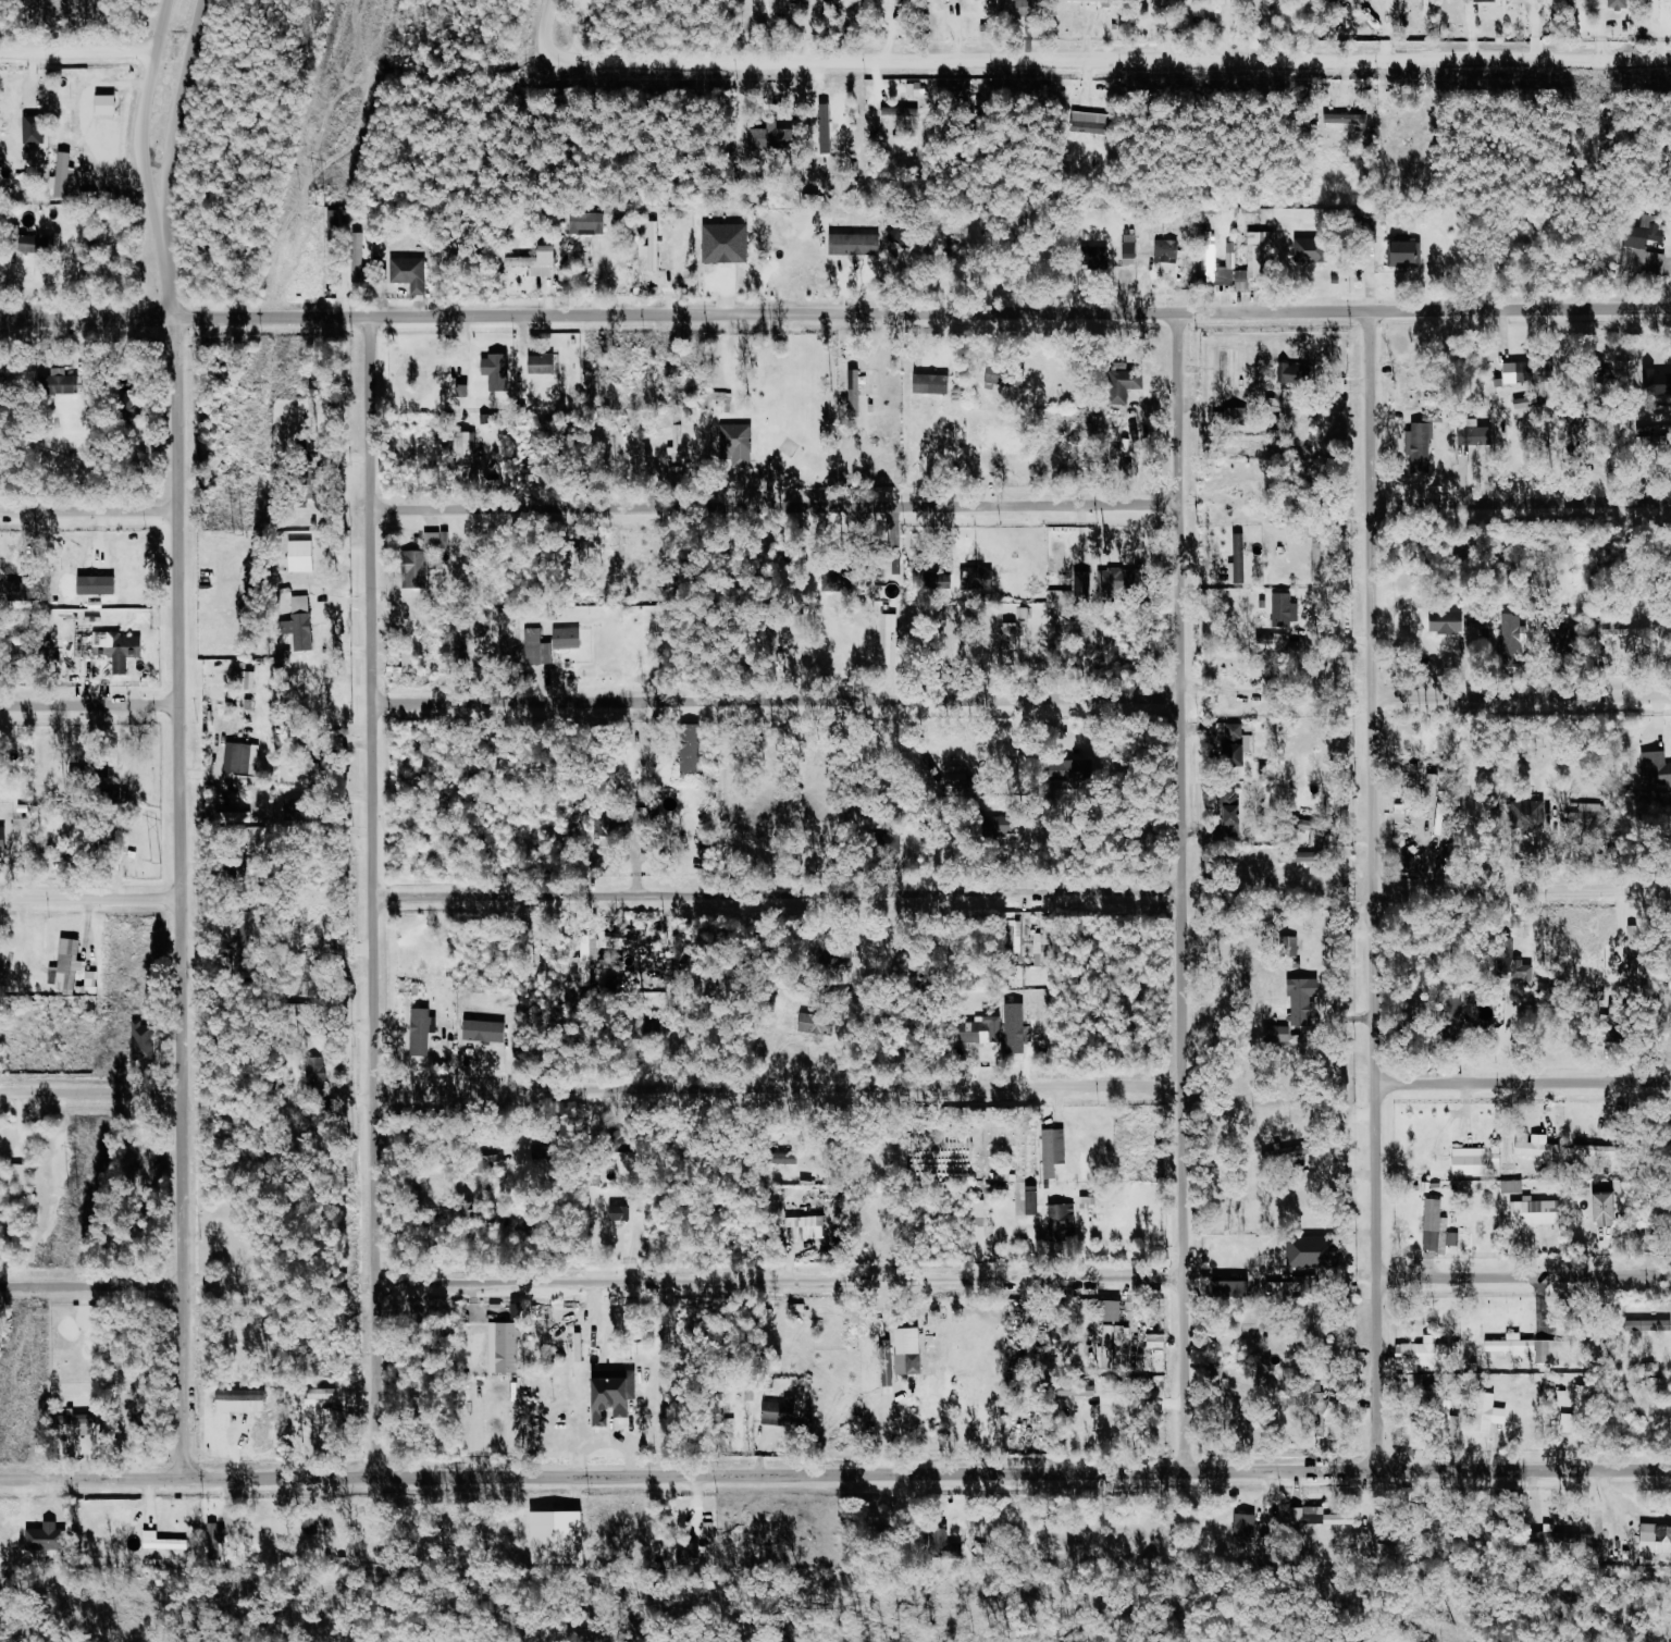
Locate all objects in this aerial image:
building: (1094, 0)
building: (1488, 0)
building: (1026, 2)
building: (1620, 2)
road: (578, 27)
road: (547, 30)
road: (78, 49)
road: (1116, 58)
building: (109, 104)
building: (903, 112)
road: (176, 116)
road: (144, 118)
building: (1348, 119)
building: (1093, 122)
building: (36, 129)
building: (771, 137)
building: (64, 174)
power tower: (321, 208)
building: (590, 222)
building: (1645, 236)
building: (728, 243)
building: (34, 244)
building: (857, 244)
building: (656, 245)
building: (1233, 247)
building: (1312, 249)
building: (1211, 252)
building: (1409, 252)
building: (1131, 254)
building: (1100, 256)
building: (359, 257)
building: (1257, 259)
building: (536, 264)
building: (411, 272)
building: (1129, 272)
road: (169, 276)
road: (835, 313)
building: (544, 363)
building: (498, 372)
building: (1513, 372)
building: (1296, 373)
building: (1129, 381)
building: (61, 382)
building: (1658, 382)
building: (934, 383)
building: (857, 393)
building: (1233, 415)
building: (1477, 435)
building: (738, 440)
building: (680, 443)
building: (1423, 446)
building: (468, 452)
road: (1522, 503)
road: (775, 507)
road: (88, 509)
power tower: (239, 535)
building: (304, 555)
building: (428, 557)
building: (1240, 557)
building: (982, 578)
building: (939, 580)
building: (838, 581)
building: (1116, 582)
building: (99, 584)
building: (1065, 592)
building: (1287, 609)
building: (304, 622)
building: (1450, 622)
building: (1013, 635)
building: (890, 637)
building: (569, 638)
building: (1515, 640)
building: (1636, 640)
building: (539, 647)
building: (121, 649)
building: (81, 650)
building: (284, 656)
road: (1522, 695)
road: (776, 700)
road: (89, 706)
building: (1233, 744)
building: (692, 757)
building: (243, 758)
building: (1656, 769)
building: (329, 773)
building: (1078, 774)
building: (958, 781)
building: (296, 807)
building: (1233, 813)
building: (1402, 813)
building: (1531, 814)
building: (239, 817)
building: (616, 823)
building: (1007, 826)
building: (1319, 831)
building: (3, 837)
building: (898, 839)
building: (109, 850)
building: (1305, 861)
power tower: (154, 862)
road: (1522, 888)
road: (1374, 890)
road: (1180, 891)
road: (777, 892)
road: (181, 898)
road: (373, 898)
road: (90, 899)
building: (1017, 937)
building: (1045, 942)
building: (246, 943)
building: (837, 958)
building: (586, 961)
building: (1514, 964)
building: (69, 965)
building: (1305, 999)
building: (306, 1013)
building: (636, 1015)
building: (817, 1022)
building: (1013, 1026)
building: (487, 1029)
building: (423, 1030)
building: (974, 1030)
building: (1279, 1035)
building: (145, 1040)
building: (314, 1070)
road: (1523, 1082)
road: (778, 1087)
road: (94, 1090)
building: (0, 1138)
building: (1539, 1146)
building: (545, 1150)
building: (1055, 1150)
building: (1602, 1150)
building: (1498, 1157)
building: (790, 1158)
building: (1471, 1160)
building: (21, 1173)
building: (1513, 1186)
power tower: (72, 1190)
building: (1035, 1199)
building: (1609, 1208)
building: (1540, 1211)
building: (621, 1212)
building: (1064, 1221)
building: (810, 1226)
building: (980, 1229)
building: (1439, 1229)
building: (1316, 1251)
road: (1280, 1271)
road: (1524, 1276)
road: (780, 1277)
road: (95, 1285)
building: (1233, 1287)
building: (1113, 1309)
building: (1650, 1324)
building: (1158, 1339)
building: (1116, 1343)
building: (507, 1346)
building: (911, 1350)
building: (1434, 1353)
building: (889, 1363)
building: (313, 1393)
building: (616, 1395)
building: (238, 1397)
building: (781, 1411)
building: (1490, 1411)
building: (1577, 1412)
building: (1098, 1419)
building: (1456, 1422)
road: (834, 1476)
building: (1320, 1517)
building: (1245, 1524)
building: (216, 1533)
building: (1557, 1535)
building: (1657, 1538)
building: (934, 1540)
building: (164, 1541)
building: (697, 1547)

